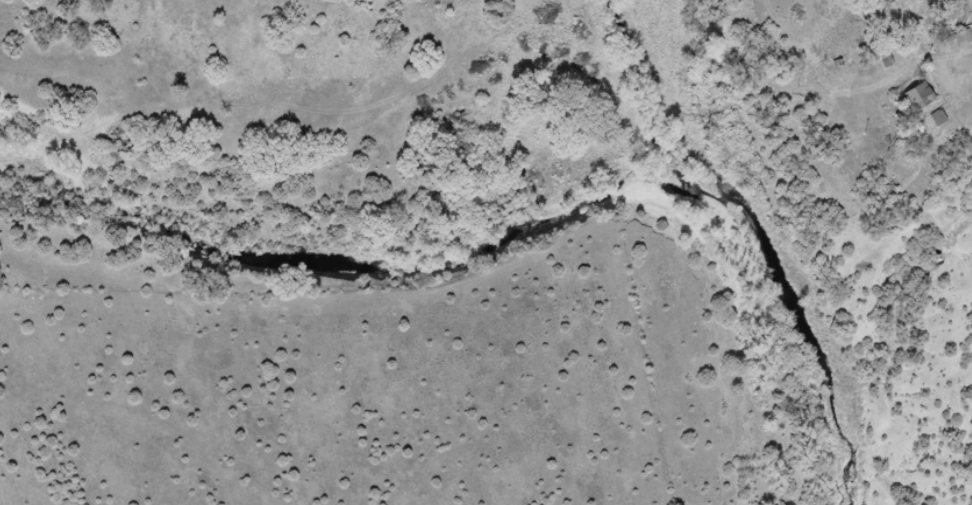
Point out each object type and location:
building: (962, 41)
road: (962, 83)
building: (921, 98)
building: (940, 120)

